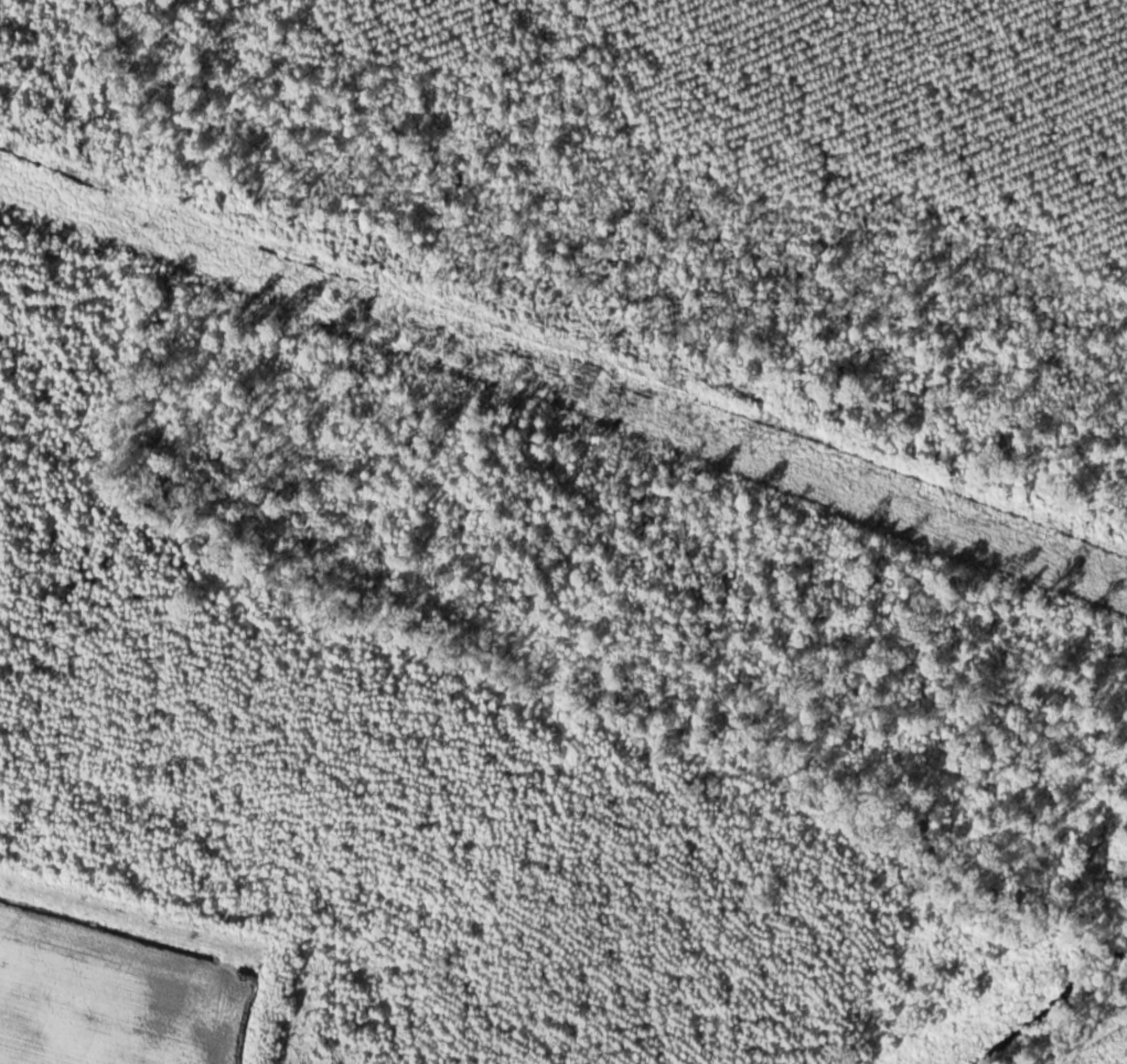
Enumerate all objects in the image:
power tower: (348, 297)
power tower: (754, 443)

